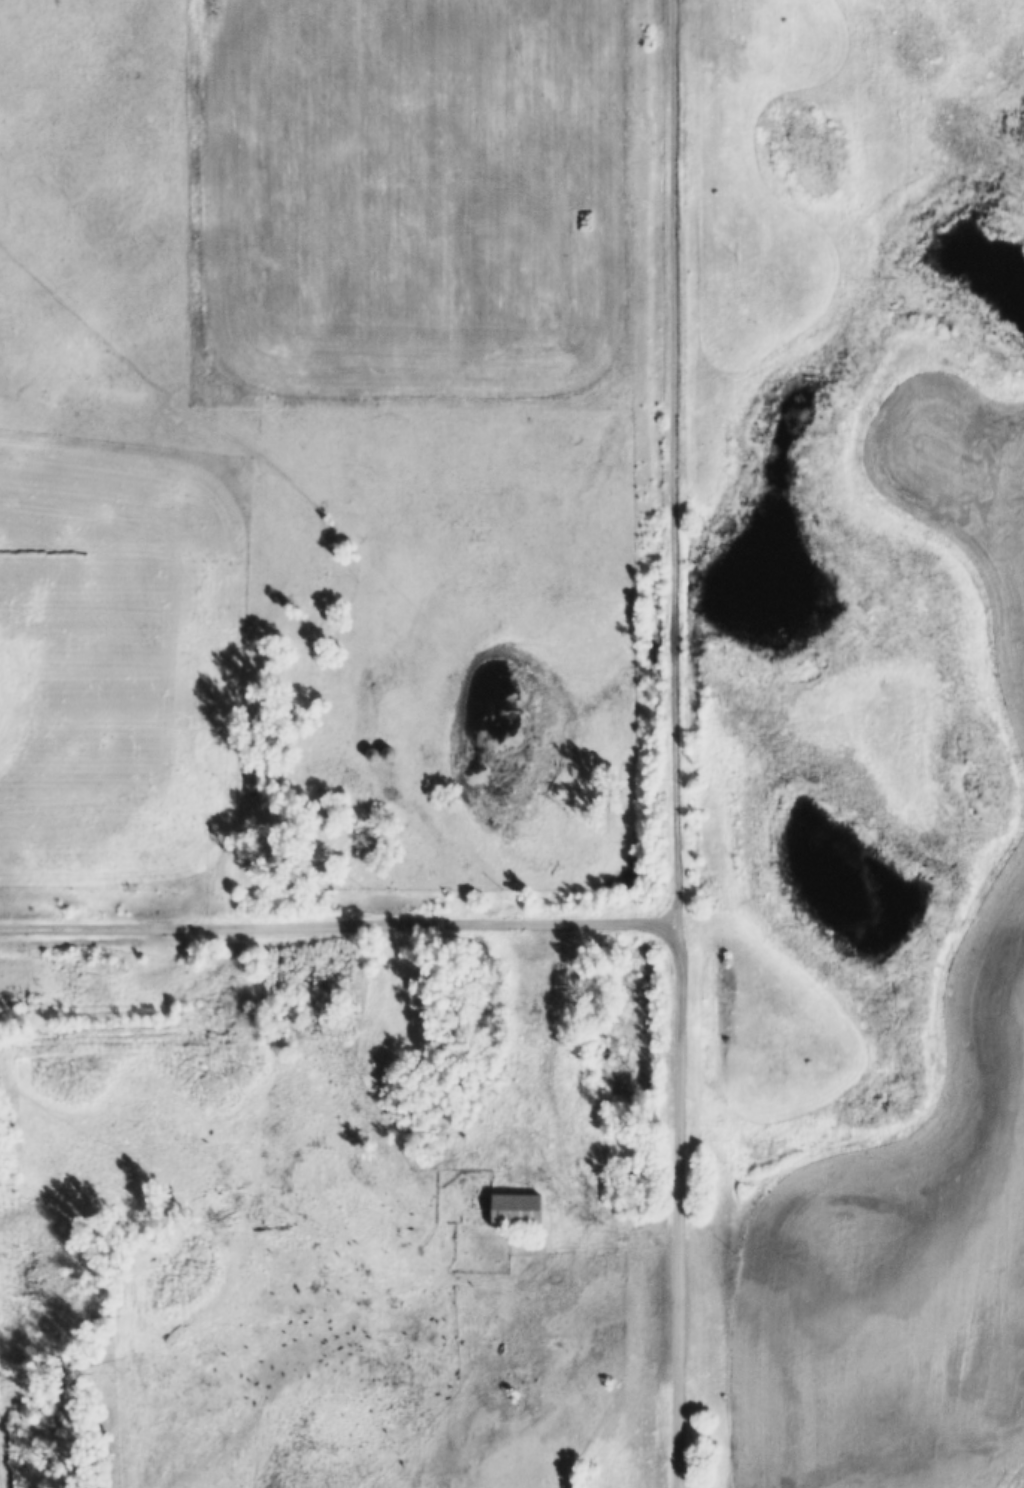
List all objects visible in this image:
road: (676, 457)
building: (385, 751)
silo: (385, 751)
building: (367, 753)
silo: (367, 753)
road: (339, 921)
building: (523, 1008)
road: (680, 1201)
building: (512, 1207)

